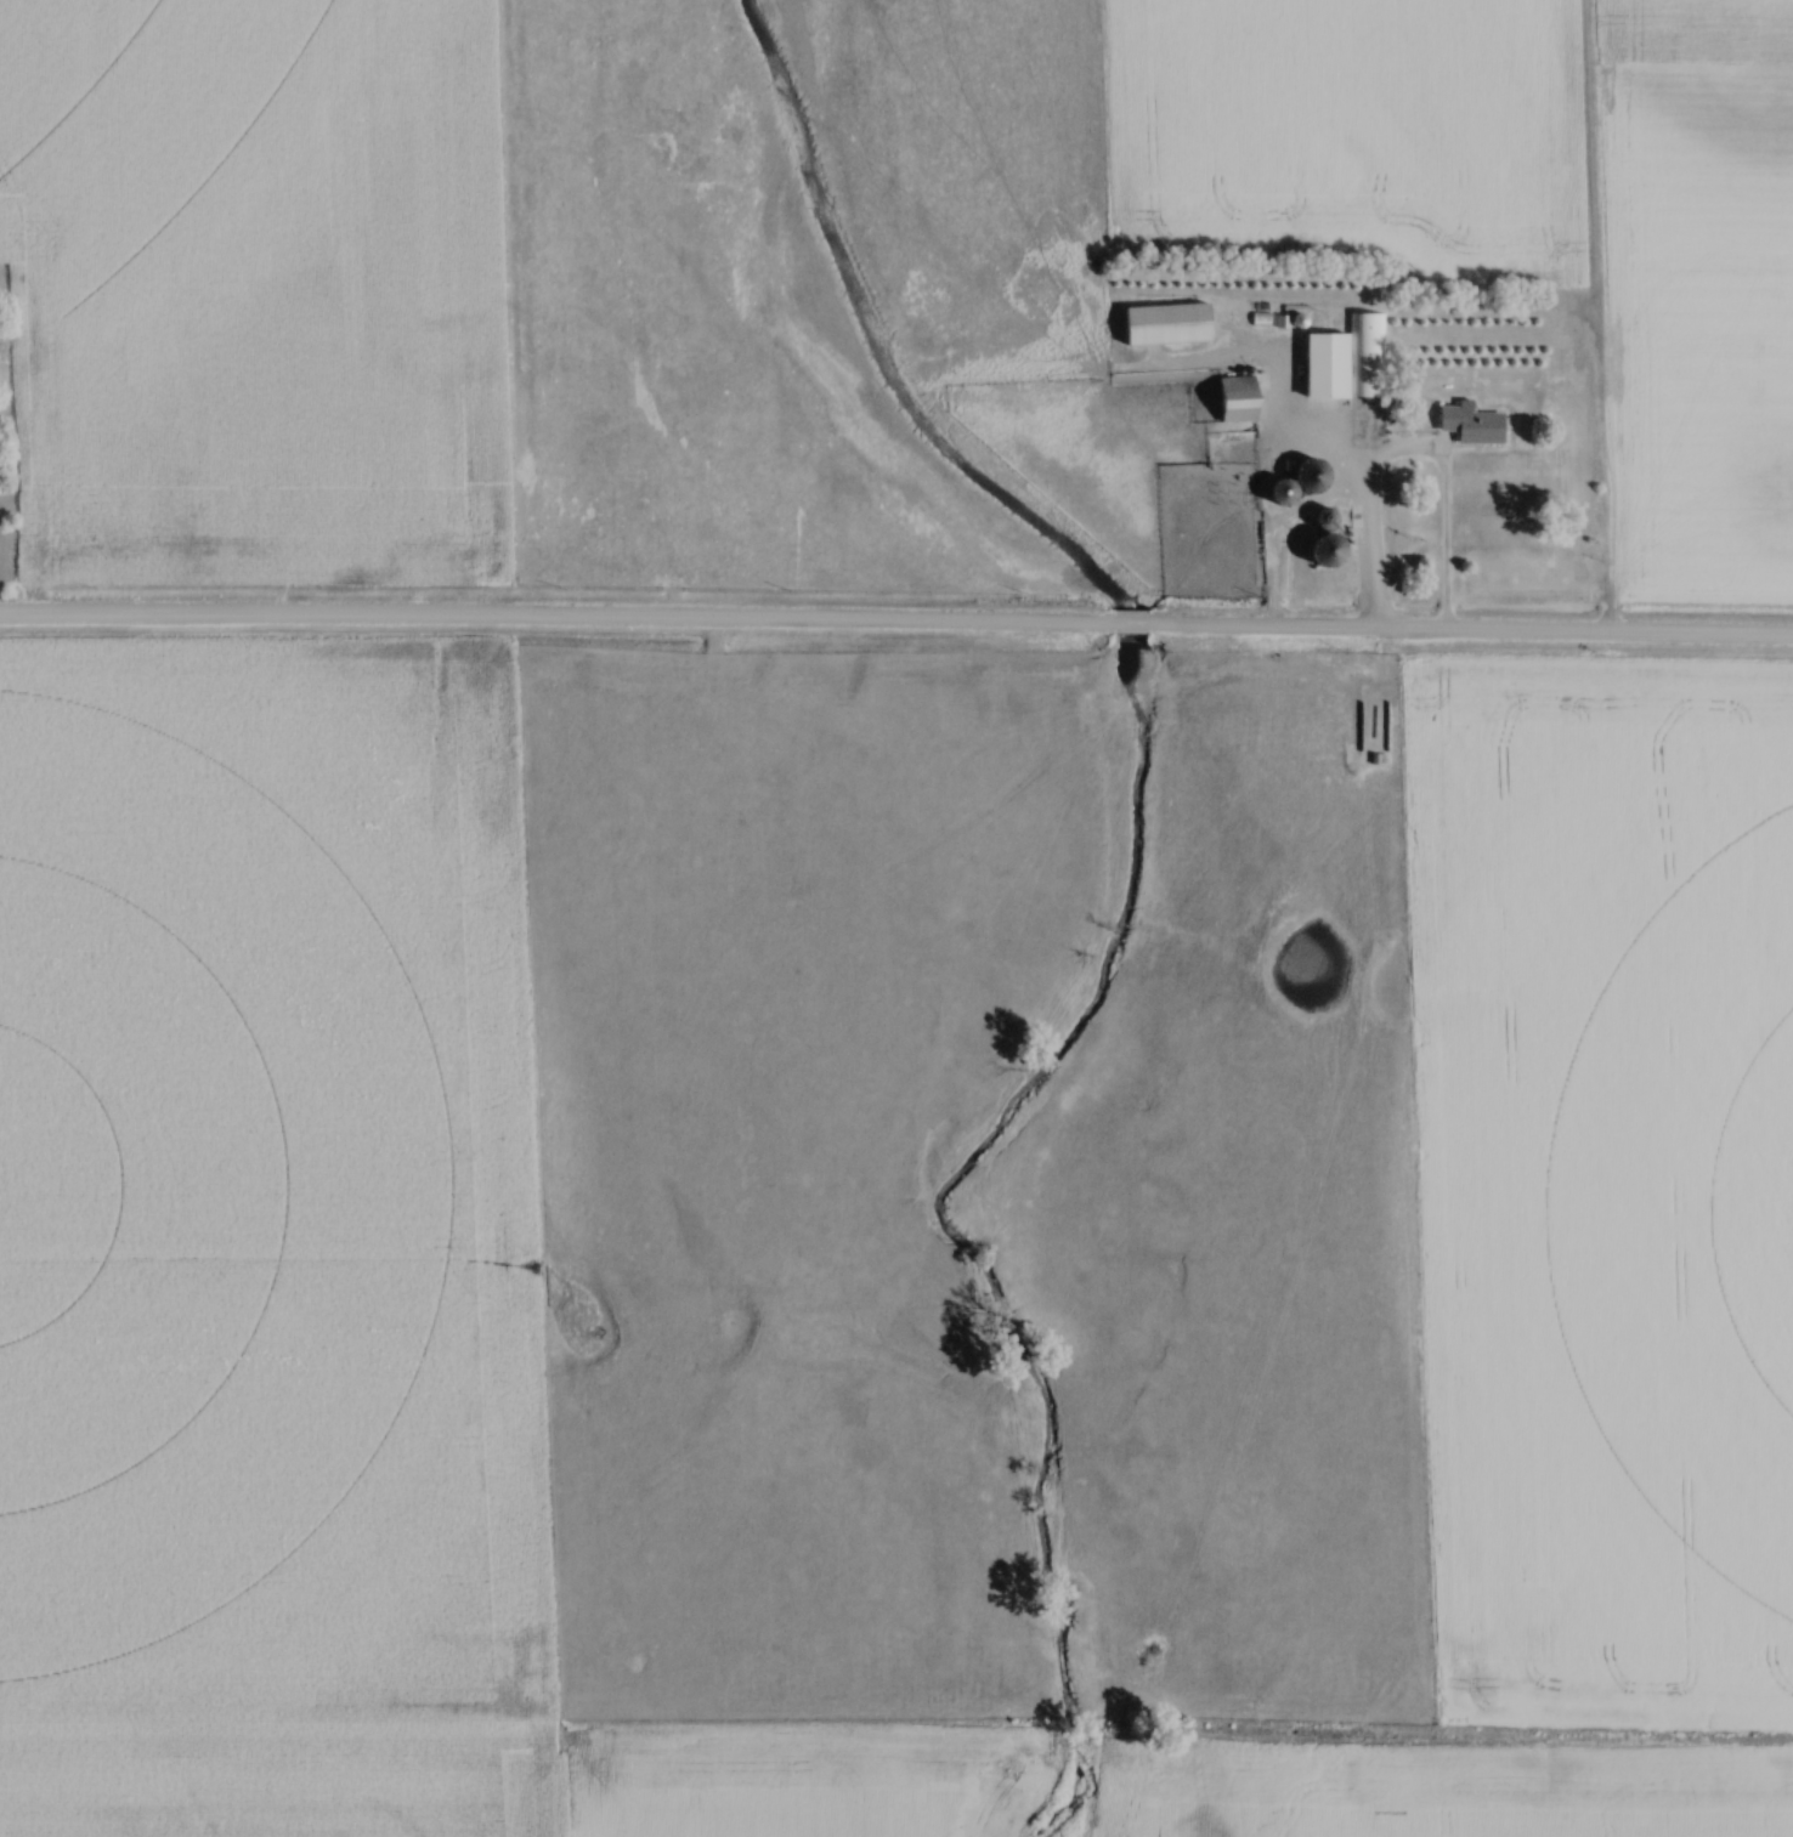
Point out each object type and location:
building: (1172, 325)
building: (1348, 361)
building: (1243, 401)
building: (1475, 425)
road: (1407, 450)
road: (895, 624)

